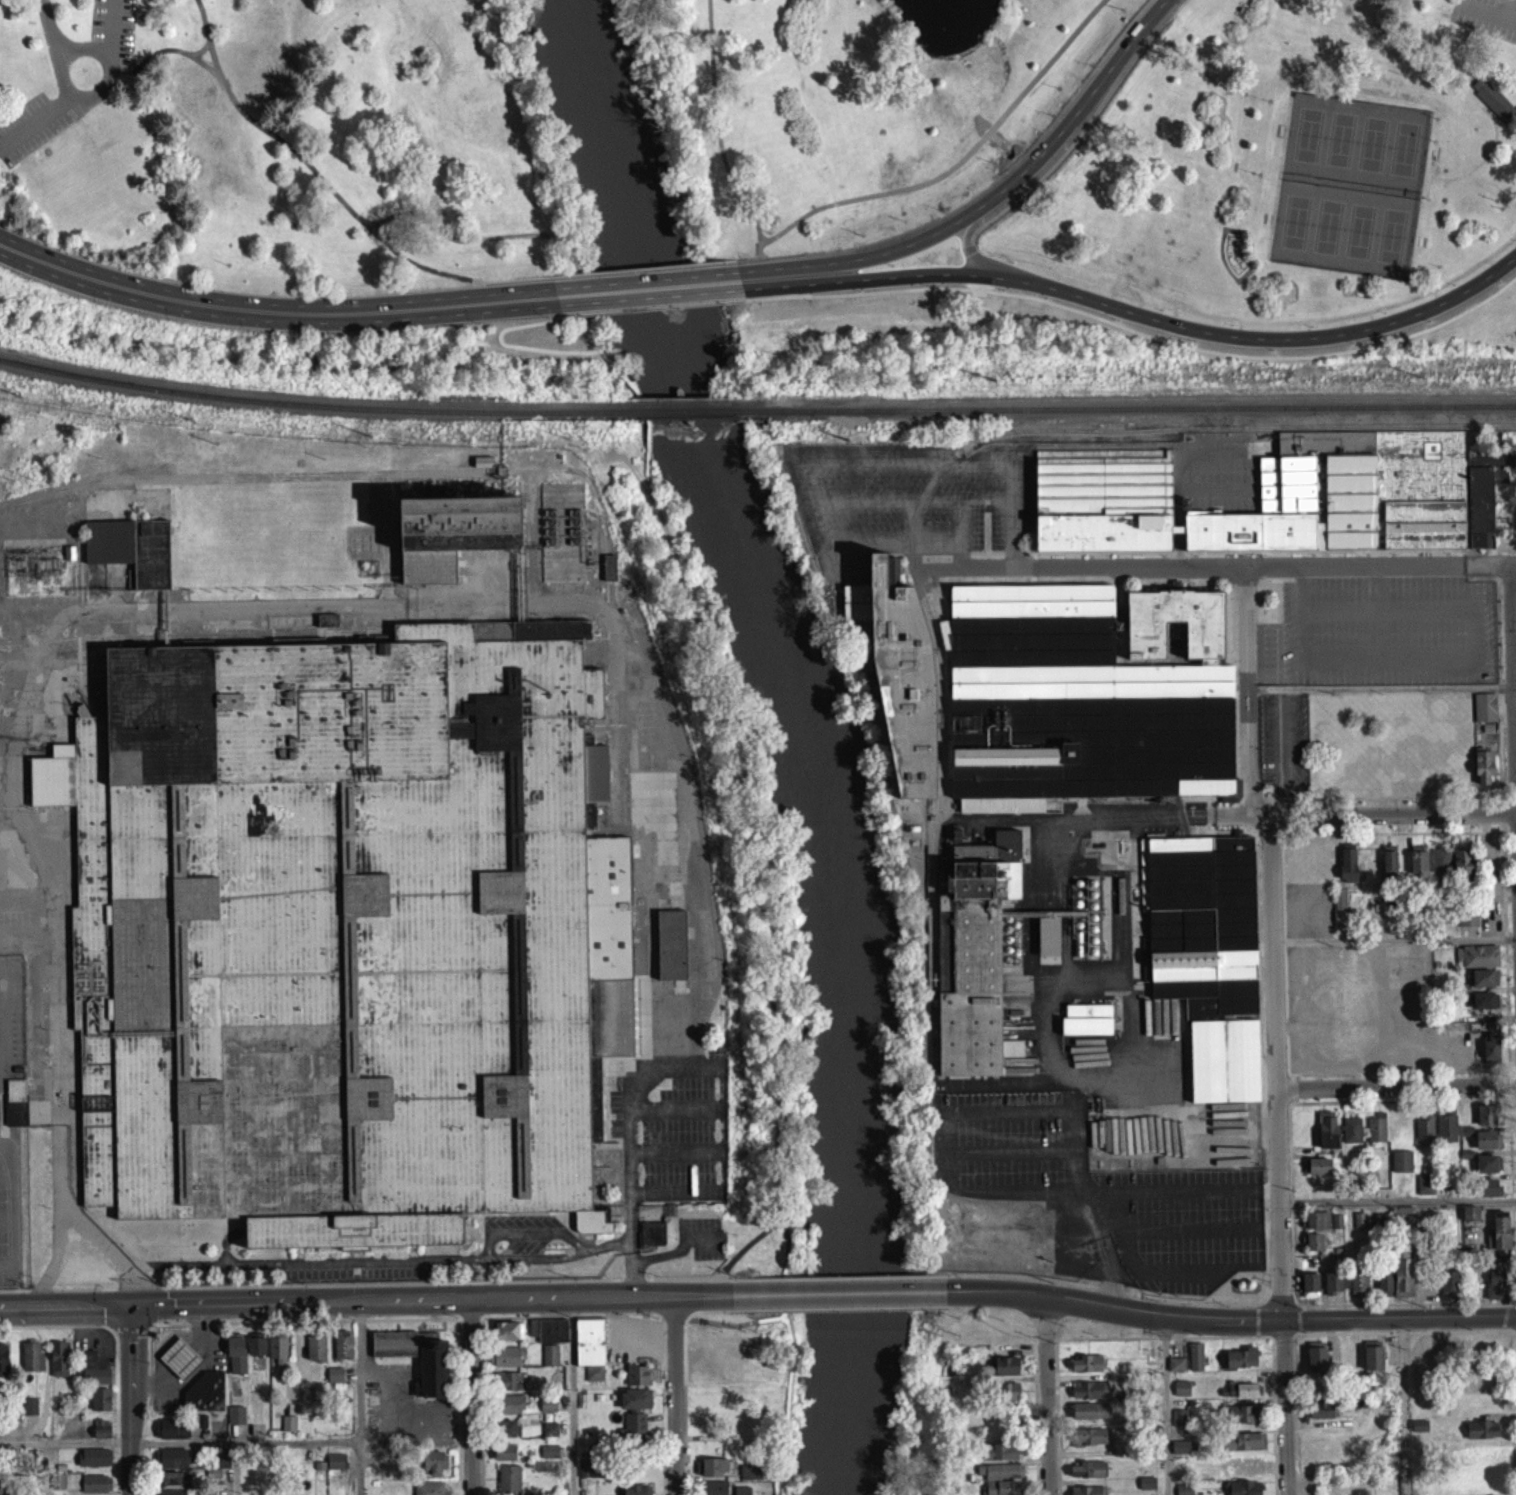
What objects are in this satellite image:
road: (1487, 10)
parking lot: (1484, 22)
road: (109, 31)
parking lot: (112, 32)
road: (47, 35)
road: (58, 49)
road: (171, 55)
road: (199, 55)
road: (129, 69)
road: (119, 77)
road: (109, 81)
road: (1505, 86)
road: (1490, 104)
building: (1491, 105)
road: (35, 126)
parking lot: (34, 130)
park: (1305, 140)
park: (771, 142)
park: (1337, 145)
park: (1370, 149)
road: (998, 150)
park: (1402, 154)
road: (1481, 165)
road: (1016, 182)
road: (1425, 186)
road: (331, 197)
road: (1040, 197)
road: (841, 207)
road: (401, 218)
road: (352, 223)
park: (1293, 228)
park: (1325, 232)
road: (967, 234)
park: (1358, 236)
road: (447, 241)
park: (1389, 241)
road: (566, 253)
road: (753, 264)
road: (733, 265)
road: (641, 275)
road: (546, 284)
road: (774, 284)
road: (647, 294)
road: (743, 308)
road: (652, 313)
road: (273, 317)
road: (559, 319)
road: (1170, 330)
road: (1137, 338)
road: (594, 347)
road: (511, 352)
railway: (311, 403)
railway: (1128, 407)
railway: (684, 410)
road: (640, 412)
railway: (956, 451)
road: (877, 471)
railway: (256, 475)
railway: (79, 480)
building: (1486, 489)
building: (1350, 494)
building: (1104, 499)
road: (1013, 520)
building: (453, 532)
road: (912, 540)
building: (131, 547)
road: (1251, 550)
road: (1513, 561)
road: (1266, 564)
road: (1262, 565)
building: (609, 566)
road: (1115, 566)
road: (968, 567)
power substation: (42, 570)
road: (1215, 579)
road: (1506, 581)
building: (327, 627)
railway: (196, 641)
building: (944, 641)
railway: (51, 659)
road: (1513, 677)
building: (899, 681)
road: (1381, 687)
road: (1247, 693)
building: (1086, 696)
building: (1484, 714)
river: (799, 732)
road: (1282, 752)
building: (1483, 774)
road: (1386, 796)
building: (1000, 812)
road: (1393, 813)
road: (1502, 823)
road: (1393, 831)
building: (1439, 868)
building: (1347, 869)
building: (1388, 869)
building: (1417, 869)
building: (1461, 873)
building: (1467, 924)
building: (345, 932)
road: (1395, 939)
building: (1047, 944)
building: (670, 951)
building: (1207, 953)
road: (1285, 953)
building: (1479, 955)
building: (1485, 977)
road: (773, 978)
building: (1484, 985)
building: (1467, 986)
building: (1484, 1008)
building: (1088, 1018)
building: (1489, 1053)
road: (1261, 1066)
road: (693, 1067)
road: (1402, 1070)
road: (60, 1075)
road: (1397, 1085)
road: (1296, 1087)
road: (1400, 1099)
road: (1513, 1099)
building: (15, 1109)
building: (1485, 1122)
building: (1445, 1134)
building: (1376, 1135)
building: (1326, 1137)
building: (1351, 1137)
building: (1423, 1138)
building: (1487, 1147)
road: (1279, 1155)
building: (1401, 1168)
building: (1487, 1171)
building: (1317, 1173)
building: (1425, 1191)
building: (1487, 1195)
road: (1397, 1198)
road: (1292, 1201)
building: (1469, 1220)
building: (1403, 1222)
building: (1316, 1227)
building: (1336, 1228)
road: (529, 1232)
building: (1500, 1237)
building: (651, 1240)
road: (748, 1244)
building: (1313, 1249)
road: (665, 1255)
road: (57, 1256)
road: (379, 1259)
road: (839, 1275)
road: (691, 1276)
building: (1311, 1282)
building: (1334, 1282)
road: (1096, 1285)
building: (1402, 1285)
building: (1495, 1287)
road: (1280, 1288)
building: (1447, 1290)
building: (1358, 1291)
building: (1383, 1291)
road: (839, 1292)
road: (1515, 1297)
road: (432, 1299)
road: (1506, 1301)
road: (66, 1305)
traffic signals: (134, 1305)
road: (847, 1308)
road: (722, 1309)
road: (1505, 1314)
road: (1231, 1316)
road: (1299, 1317)
road: (1259, 1318)
road: (984, 1320)
road: (729, 1323)
road: (1513, 1329)
road: (1403, 1330)
road: (1044, 1333)
road: (1163, 1336)
building: (507, 1337)
building: (548, 1337)
road: (1283, 1339)
building: (255, 1351)
building: (277, 1354)
building: (342, 1354)
building: (590, 1354)
building: (315, 1355)
building: (1318, 1355)
building: (1374, 1357)
building: (236, 1360)
building: (549, 1362)
building: (507, 1363)
building: (1194, 1363)
building: (31, 1364)
building: (3, 1365)
building: (179, 1365)
building: (1240, 1365)
building: (59, 1366)
building: (1085, 1370)
building: (1175, 1371)
building: (1005, 1373)
building: (93, 1376)
building: (1478, 1380)
building: (334, 1382)
building: (638, 1382)
building: (433, 1384)
building: (1426, 1384)
building: (1183, 1386)
building: (505, 1387)
building: (1245, 1388)
building: (1476, 1389)
road: (675, 1394)
road: (1045, 1394)
building: (1181, 1395)
road: (360, 1396)
road: (574, 1396)
road: (471, 1397)
road: (1057, 1397)
building: (1089, 1397)
building: (1239, 1397)
road: (133, 1400)
building: (204, 1400)
building: (306, 1402)
road: (1166, 1404)
road: (1403, 1405)
building: (100, 1406)
building: (635, 1406)
building: (508, 1411)
building: (547, 1411)
road: (1512, 1412)
building: (29, 1413)
road: (1296, 1413)
road: (1037, 1414)
road: (1275, 1415)
building: (1322, 1417)
building: (1088, 1418)
building: (235, 1422)
building: (1241, 1422)
building: (1178, 1425)
building: (198, 1428)
building: (634, 1429)
building: (288, 1430)
building: (1418, 1432)
building: (171, 1435)
building: (101, 1436)
building: (505, 1436)
building: (549, 1436)
building: (1092, 1436)
building: (1481, 1436)
road: (247, 1442)
road: (66, 1443)
building: (1244, 1449)
building: (1183, 1454)
building: (549, 1458)
building: (504, 1459)
building: (999, 1459)
building: (93, 1464)
building: (170, 1465)
road: (235, 1468)
building: (335, 1468)
building: (434, 1470)
building: (713, 1474)
building: (588, 1475)
building: (1242, 1475)
building: (1088, 1477)
building: (999, 1478)
building: (751, 1479)
building: (508, 1483)
building: (1477, 1483)
building: (173, 1486)
building: (66, 1487)
building: (95, 1488)
building: (1003, 1488)
building: (1146, 1489)
building: (428, 1491)
building: (713, 1491)
building: (1244, 1491)
building: (1183, 1492)
building: (636, 1493)
building: (741, 1494)
building: (1086, 1494)

